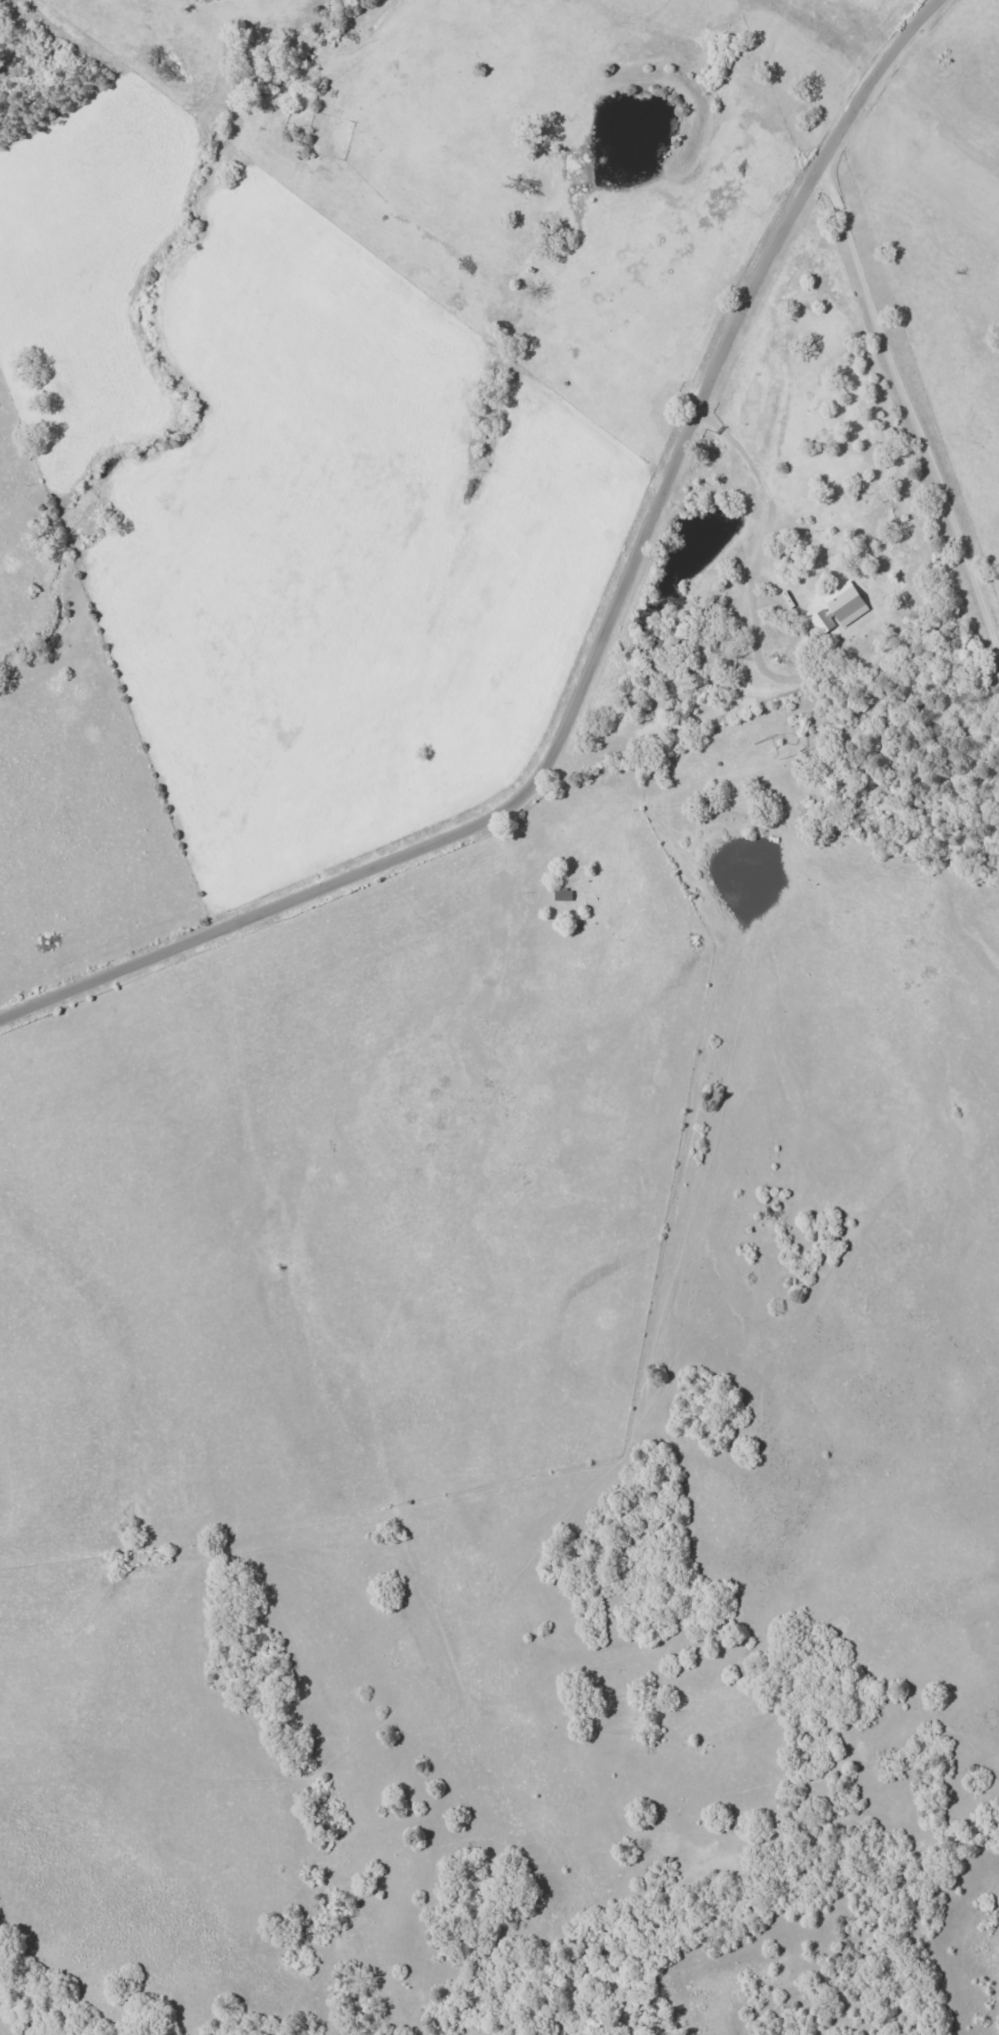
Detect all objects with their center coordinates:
road: (910, 411)
road: (753, 475)
building: (838, 608)
road: (596, 647)
building: (561, 895)

